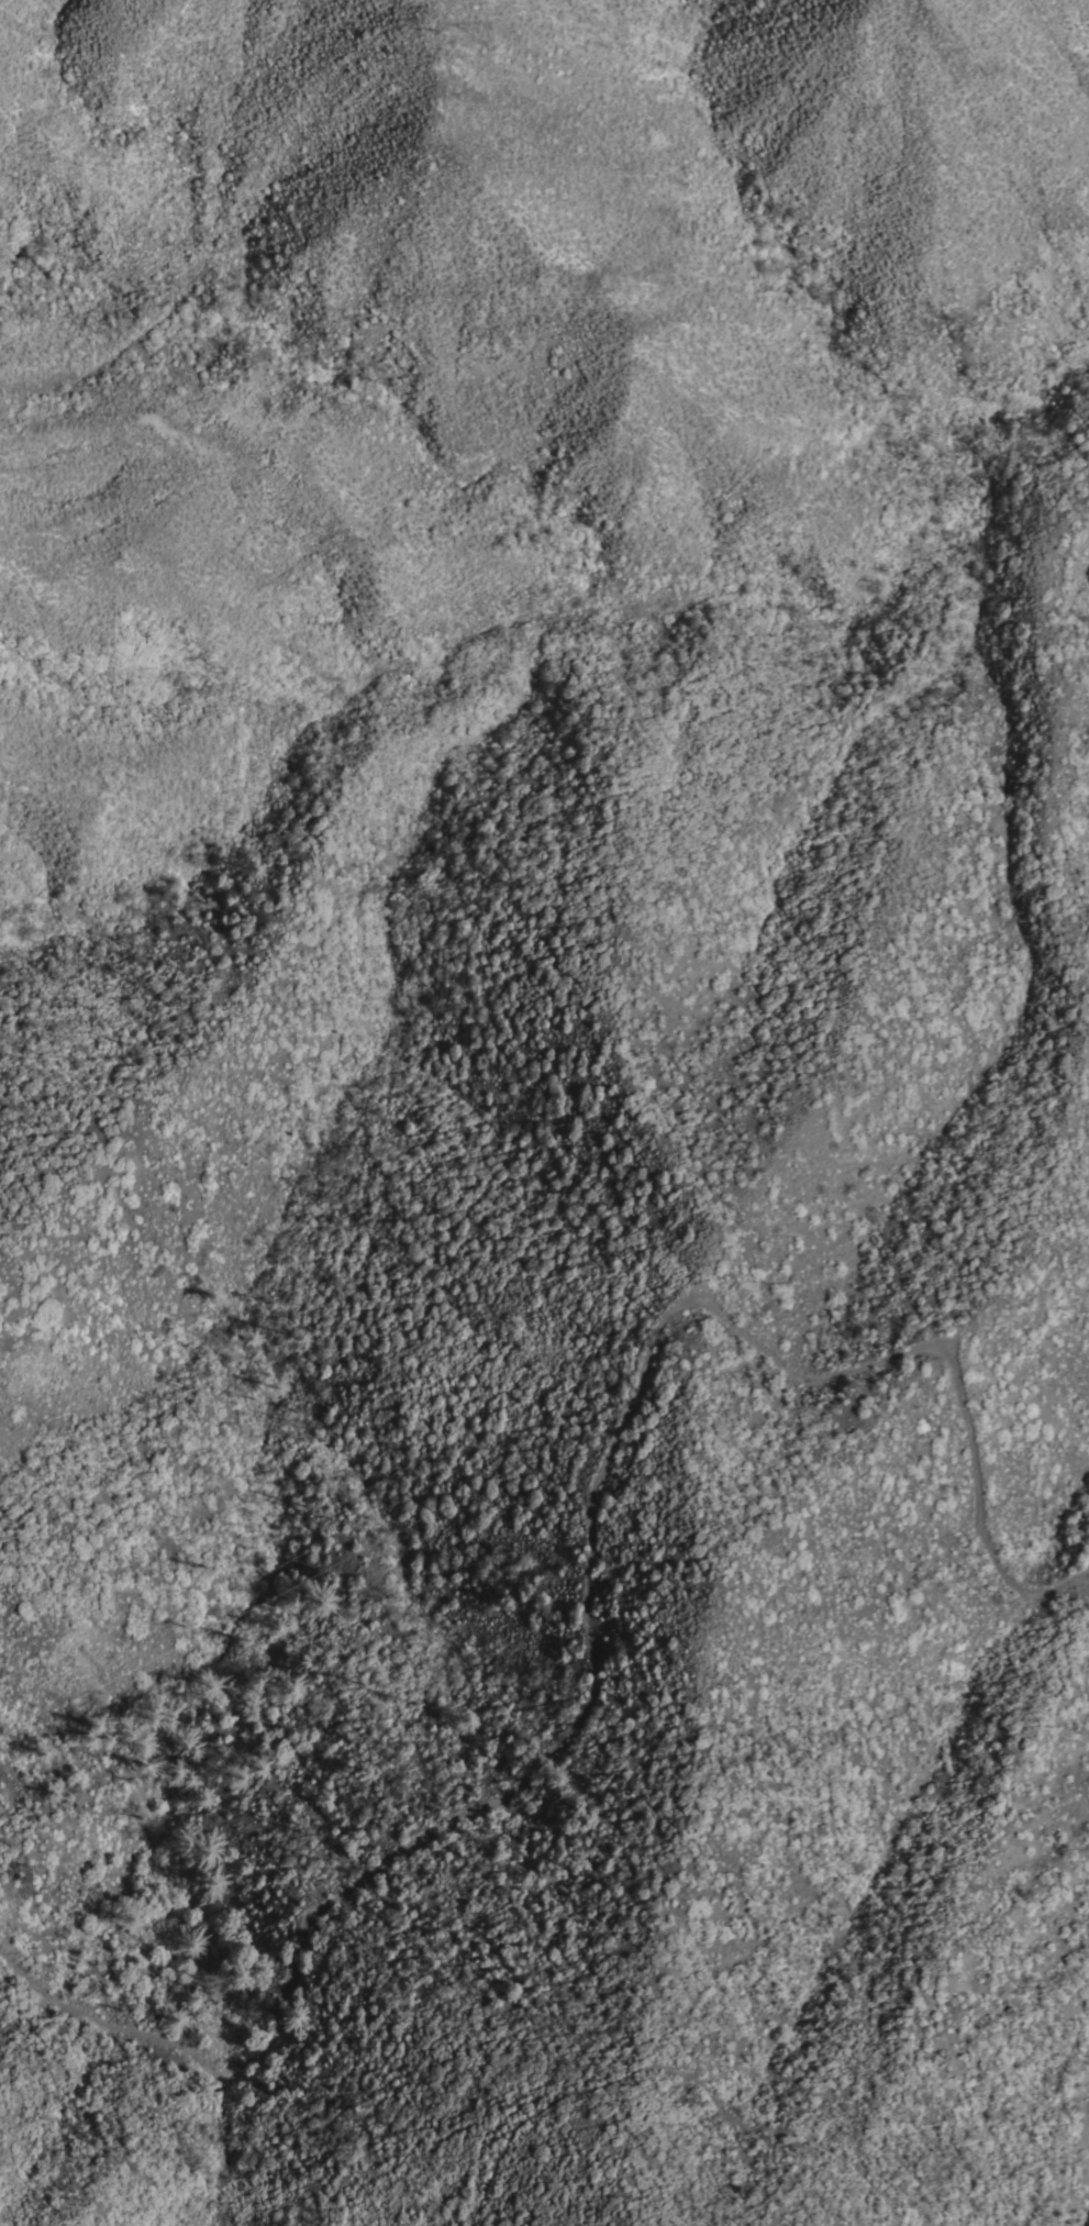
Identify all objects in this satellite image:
power tower: (674, 1344)
road: (594, 1583)
road: (675, 2069)
road: (35, 2186)

